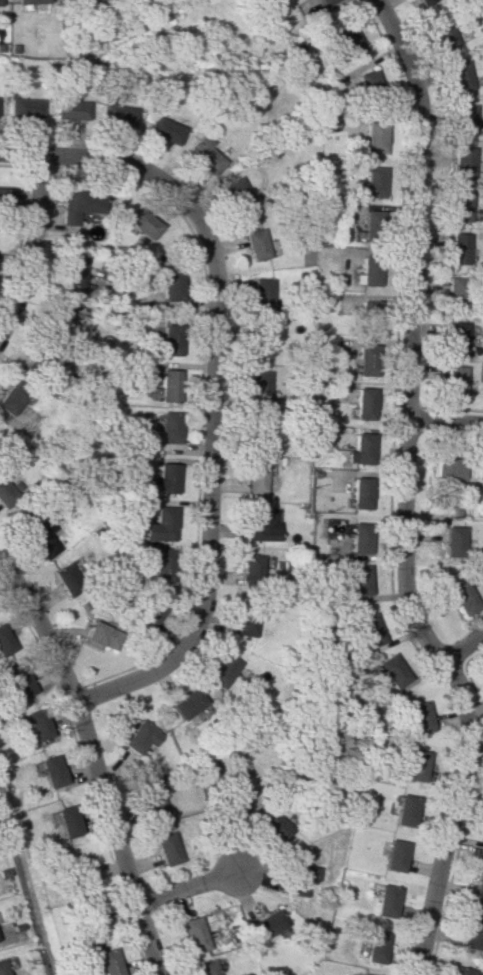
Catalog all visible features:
building: (73, 0)
building: (31, 1)
building: (424, 2)
building: (327, 4)
building: (445, 34)
building: (349, 40)
building: (460, 76)
building: (367, 81)
building: (24, 108)
building: (70, 109)
building: (117, 116)
building: (465, 119)
building: (163, 130)
building: (373, 136)
building: (204, 155)
building: (464, 161)
road: (133, 166)
building: (369, 184)
building: (5, 196)
building: (238, 196)
building: (79, 205)
building: (461, 205)
building: (141, 223)
building: (370, 225)
road: (31, 244)
building: (256, 244)
building: (459, 248)
building: (72, 268)
building: (368, 269)
building: (169, 285)
building: (457, 291)
building: (261, 294)
building: (365, 307)
building: (63, 313)
building: (457, 336)
building: (168, 339)
building: (365, 357)
building: (455, 380)
building: (167, 385)
building: (258, 386)
building: (363, 403)
road: (445, 422)
building: (167, 427)
building: (258, 432)
building: (324, 433)
building: (360, 448)
building: (448, 469)
building: (480, 470)
building: (254, 478)
building: (162, 479)
road: (402, 492)
building: (359, 493)
building: (4, 497)
road: (207, 520)
building: (159, 525)
building: (260, 525)
building: (357, 538)
building: (41, 539)
building: (451, 541)
building: (160, 565)
building: (253, 567)
building: (69, 578)
building: (358, 580)
building: (460, 596)
building: (147, 614)
building: (246, 624)
building: (367, 630)
building: (102, 635)
building: (4, 641)
road: (461, 648)
building: (223, 670)
building: (390, 671)
building: (23, 684)
building: (189, 703)
building: (415, 718)
building: (37, 724)
road: (84, 725)
building: (142, 737)
building: (411, 765)
building: (51, 771)
building: (154, 800)
building: (247, 803)
building: (403, 810)
building: (68, 821)
building: (277, 825)
building: (481, 845)
building: (169, 848)
building: (393, 855)
building: (81, 871)
building: (301, 878)
road: (188, 886)
building: (477, 887)
building: (386, 901)
building: (97, 922)
building: (269, 923)
building: (471, 932)
building: (194, 934)
road: (147, 938)
building: (373, 944)
building: (107, 961)
building: (207, 967)
building: (1, 968)
building: (461, 971)
building: (362, 974)

